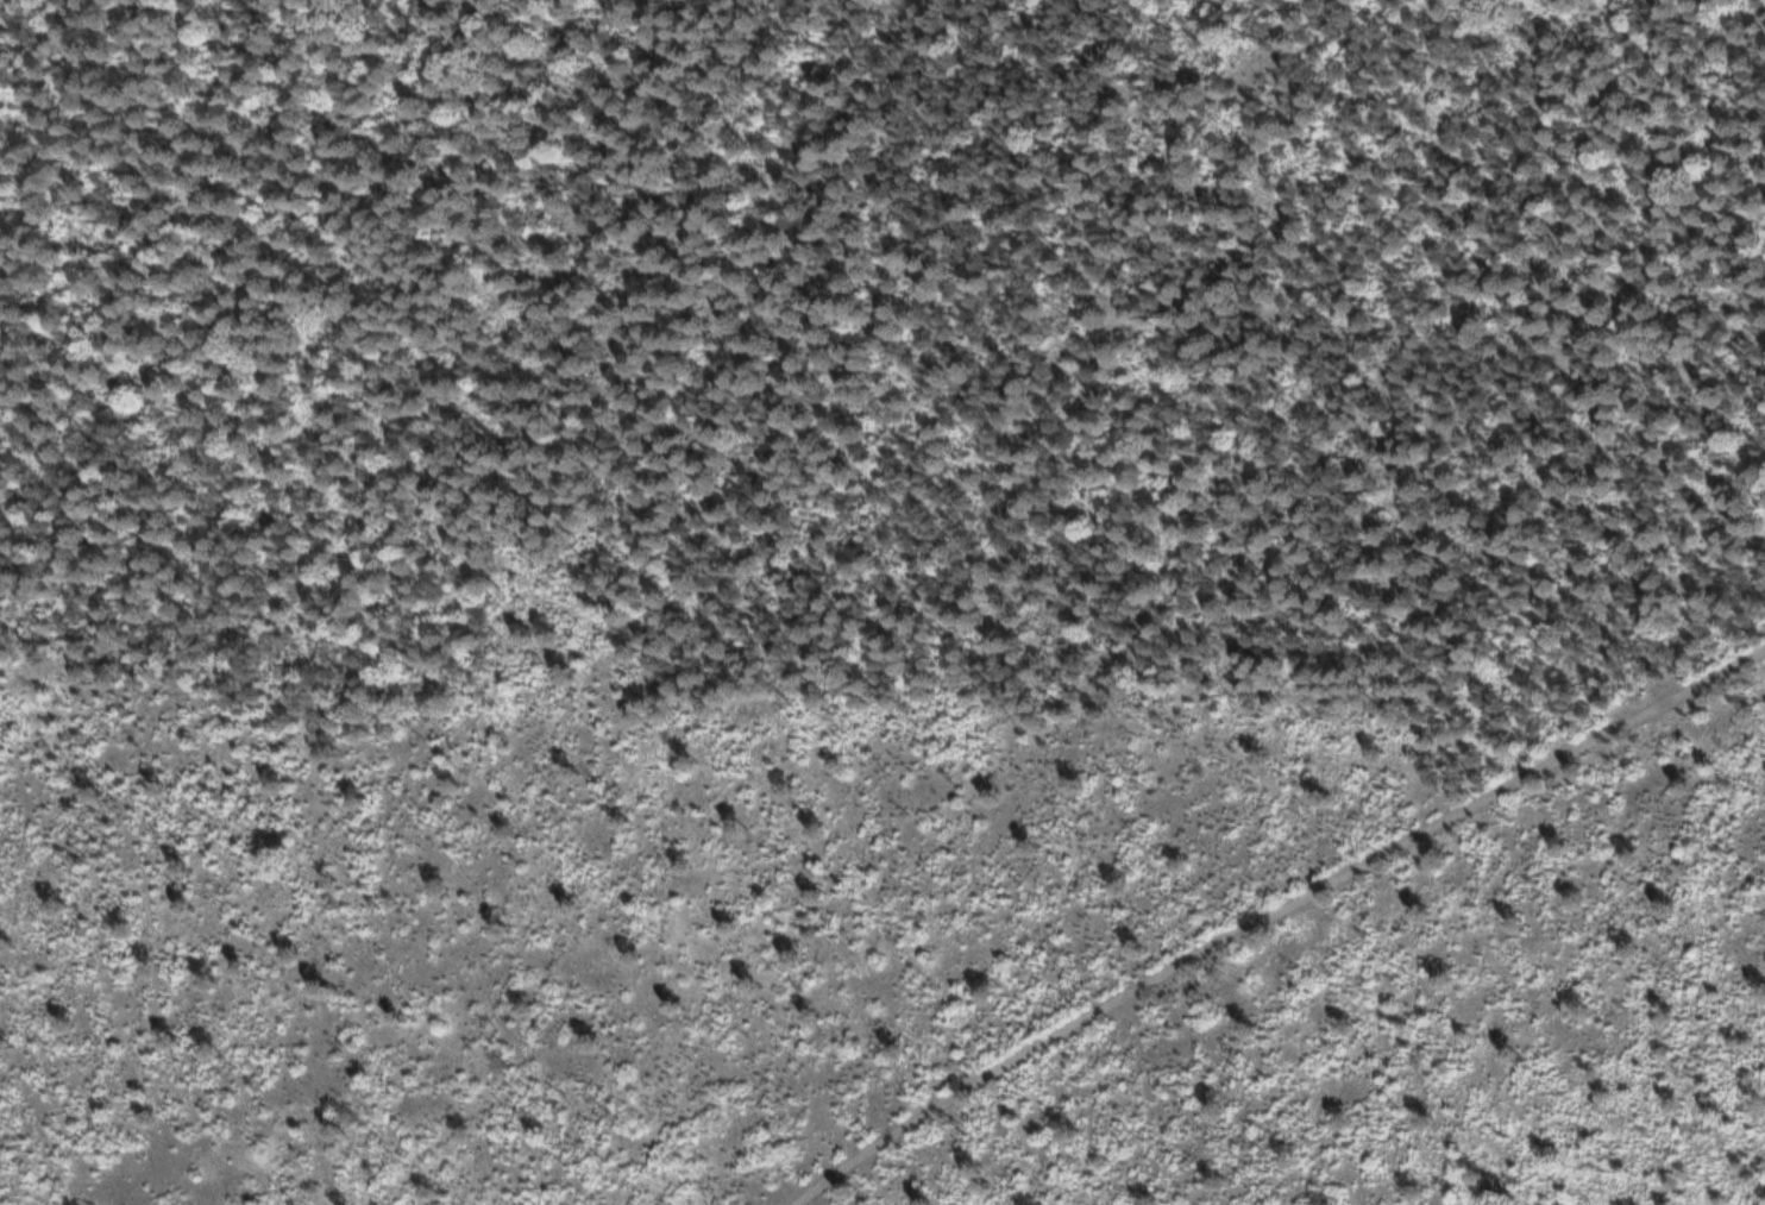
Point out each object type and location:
road: (1275, 920)

